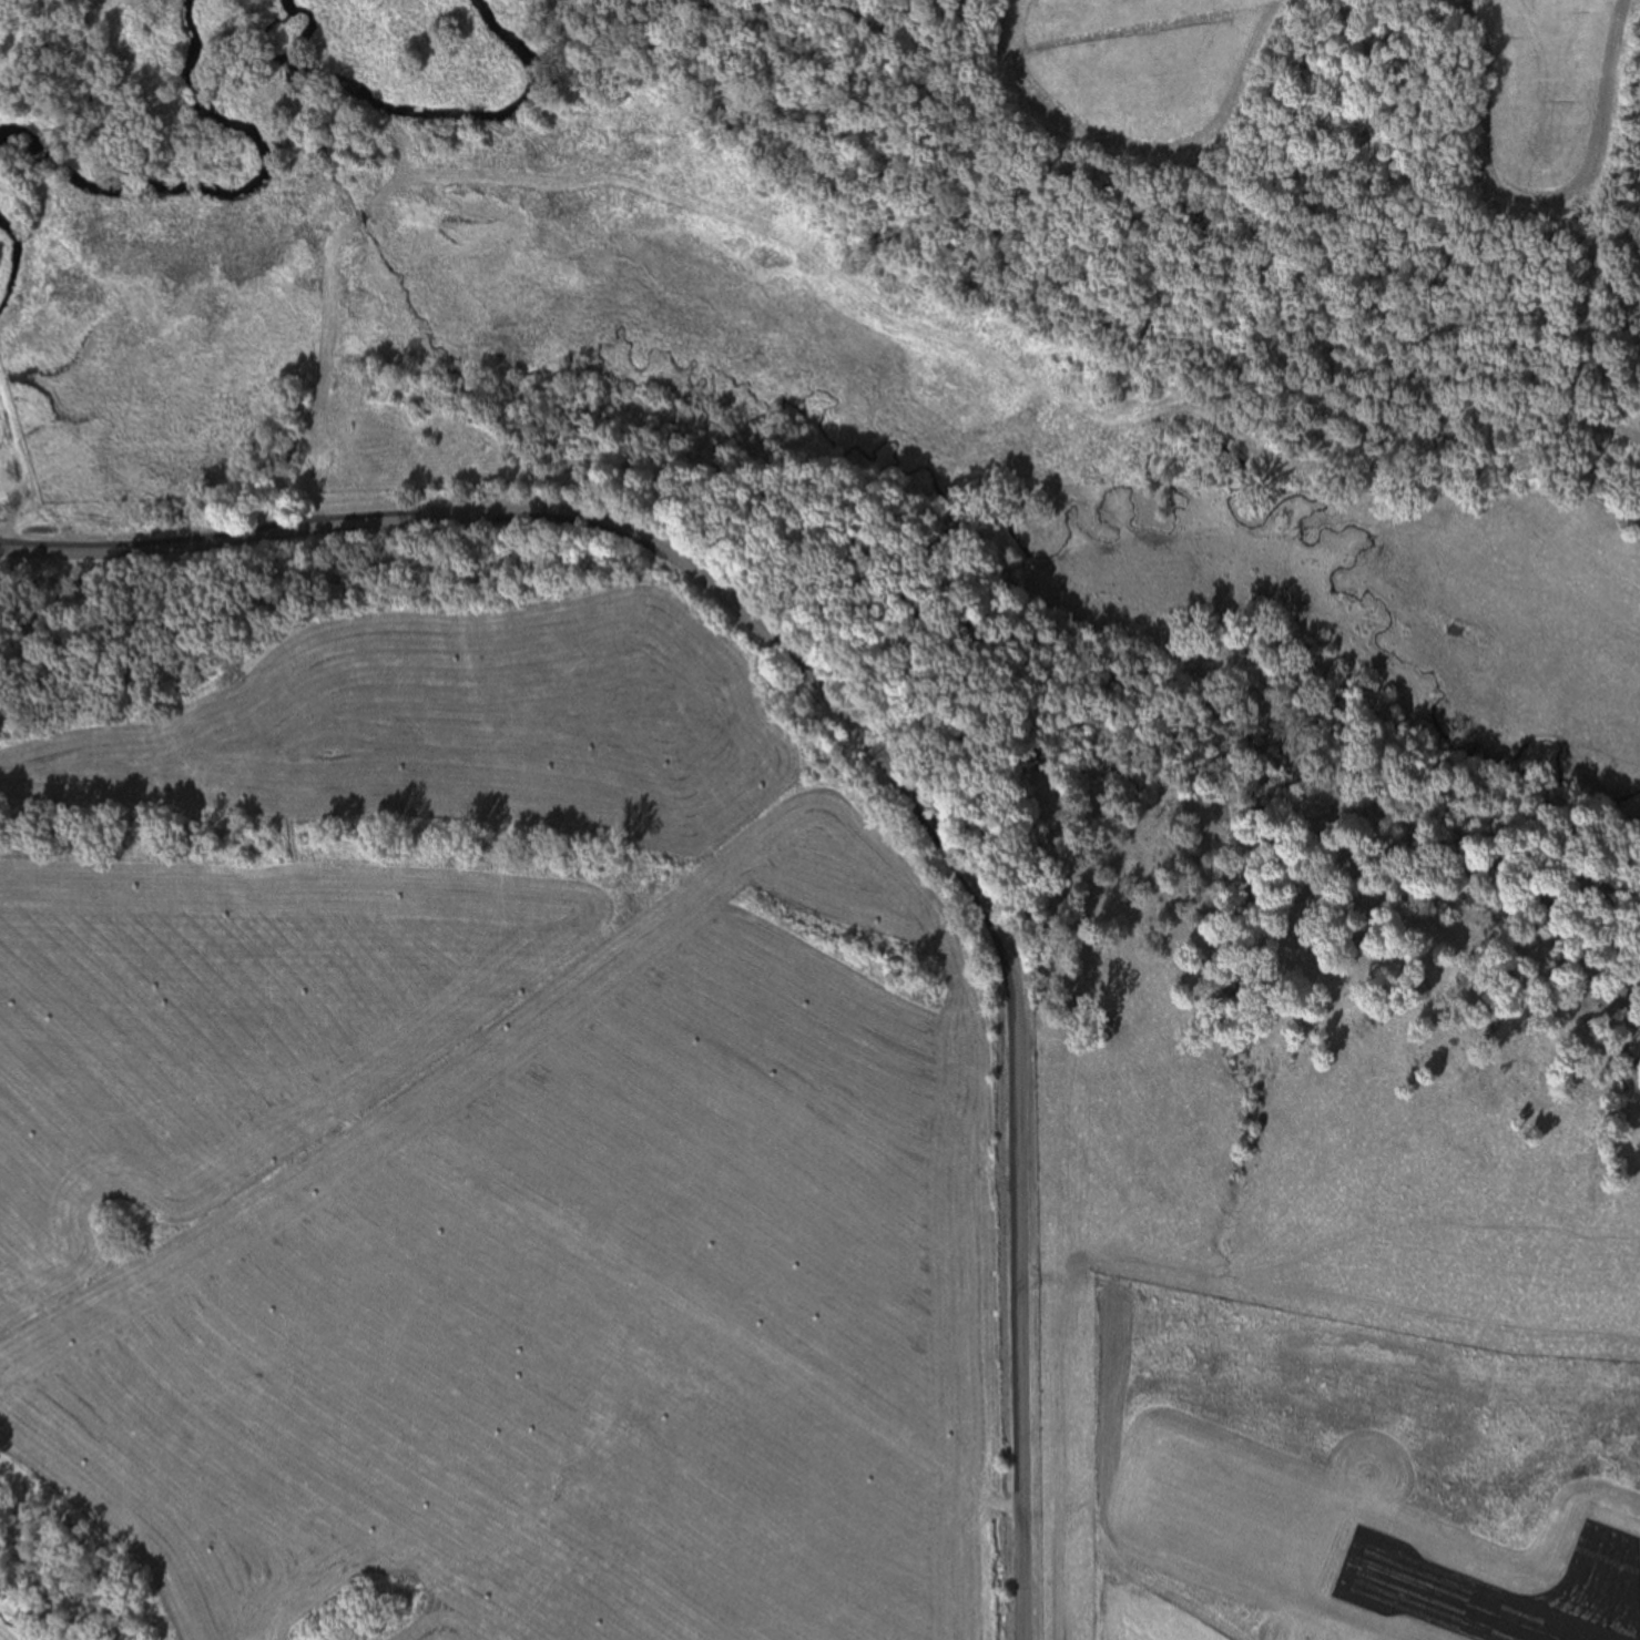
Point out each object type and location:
road: (863, 736)
airport: (1358, 1493)
airport runway: (1447, 1601)

